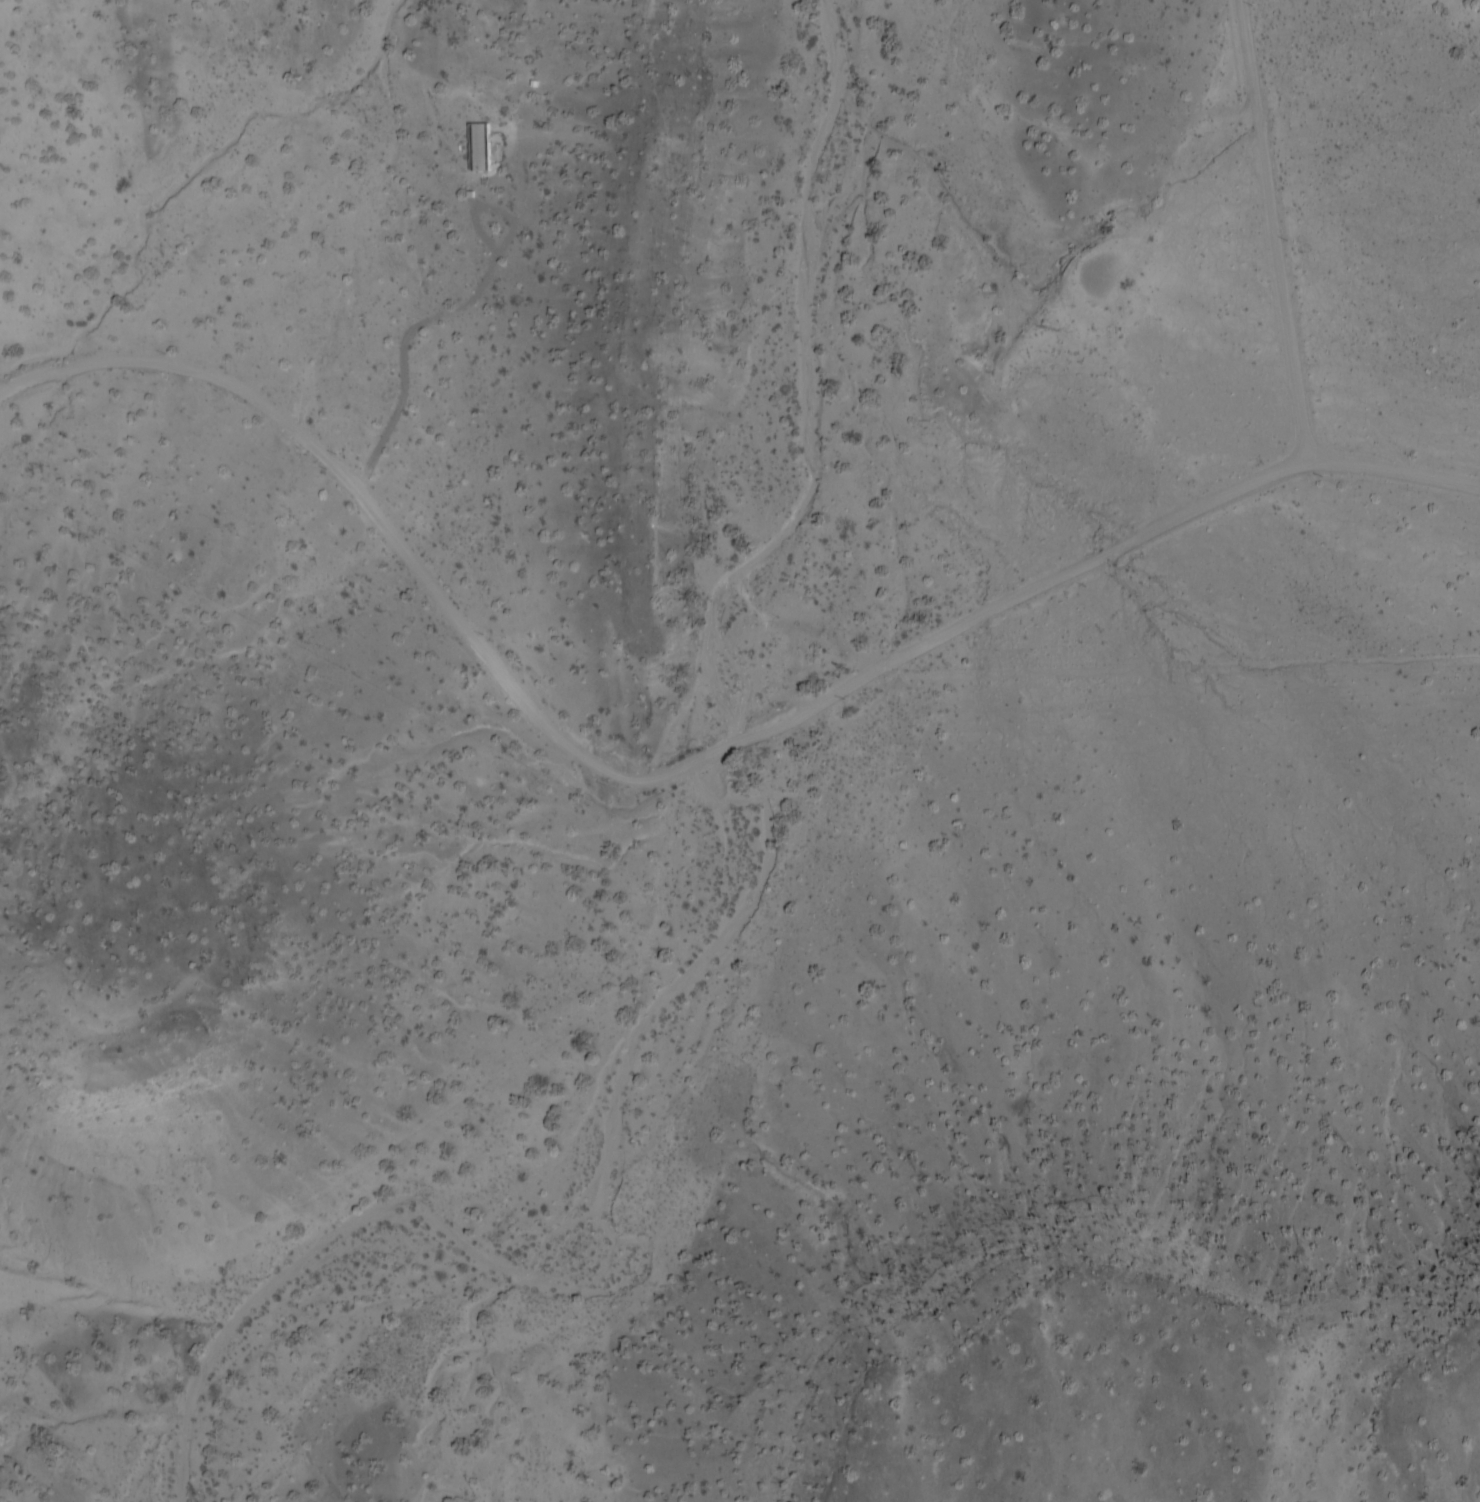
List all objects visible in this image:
building: (486, 137)
building: (452, 192)
road: (1278, 226)
road: (453, 305)
road: (687, 761)

